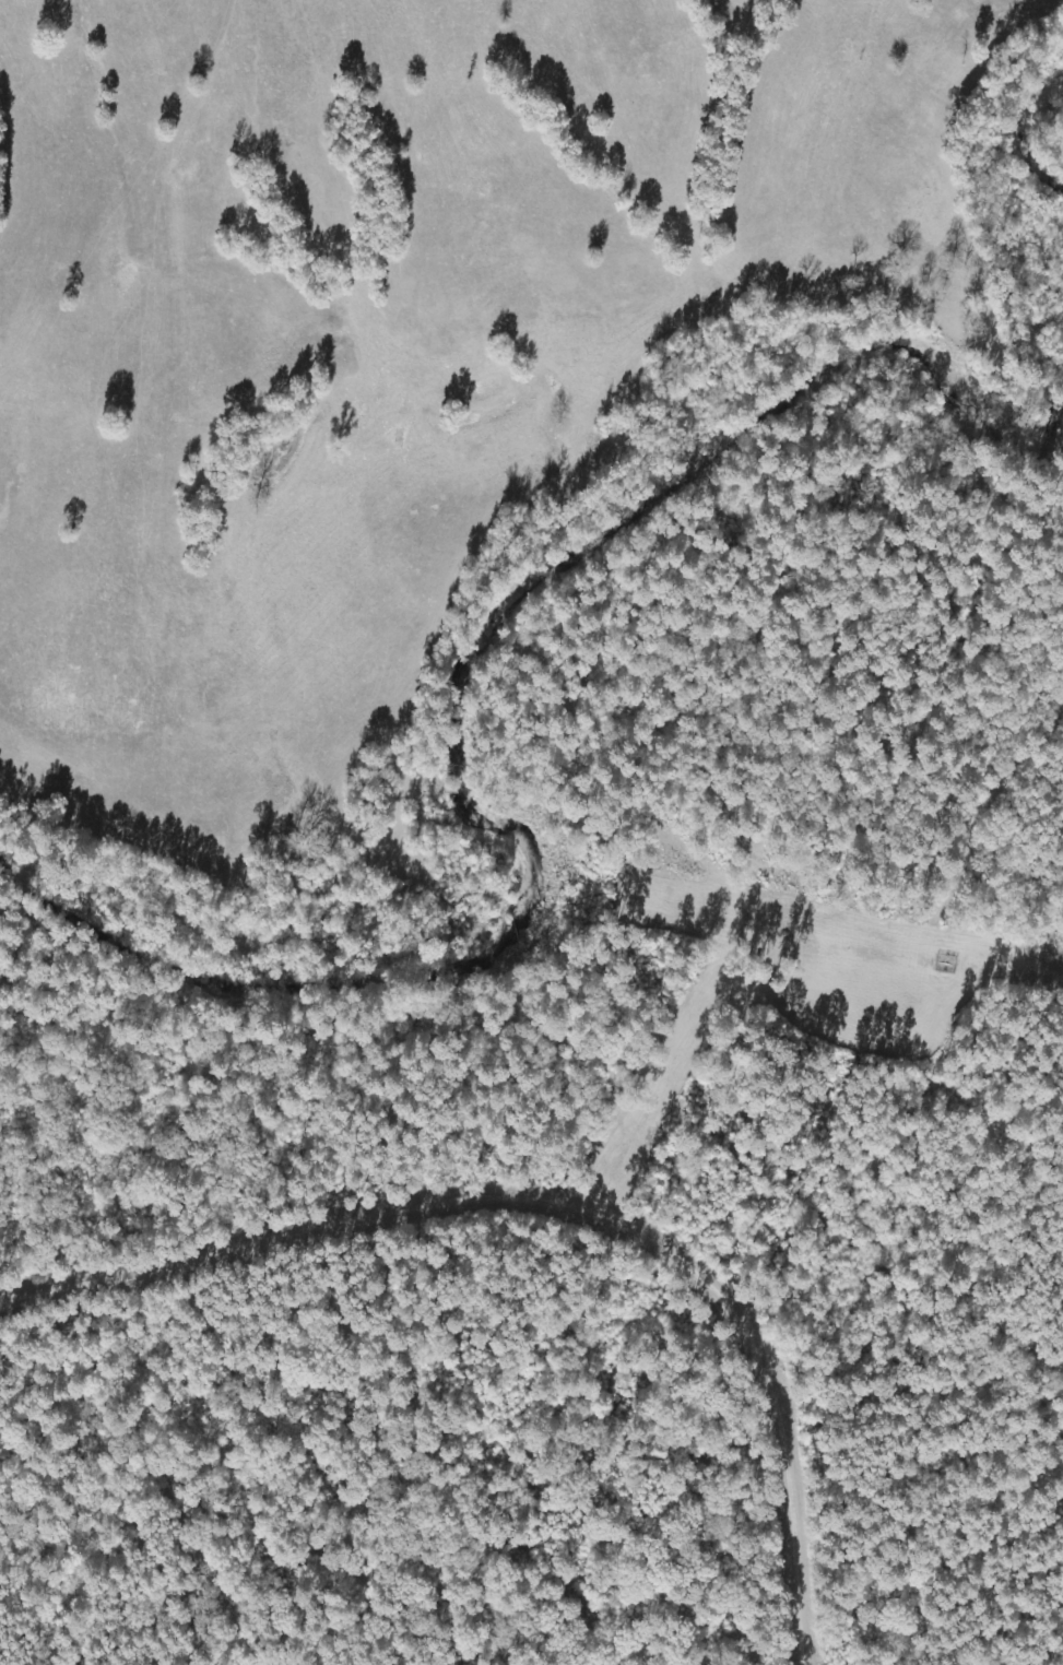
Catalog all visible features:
road: (564, 1208)

